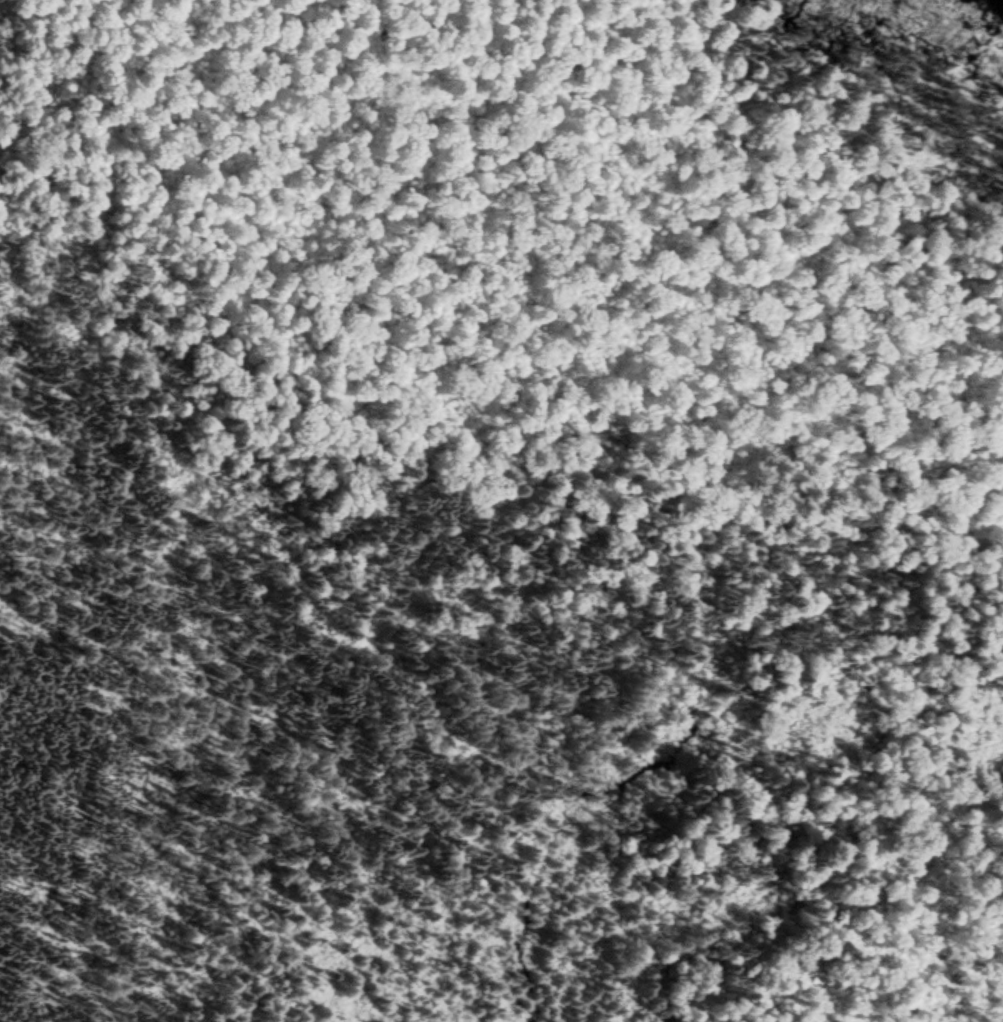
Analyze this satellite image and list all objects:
river: (997, 3)

